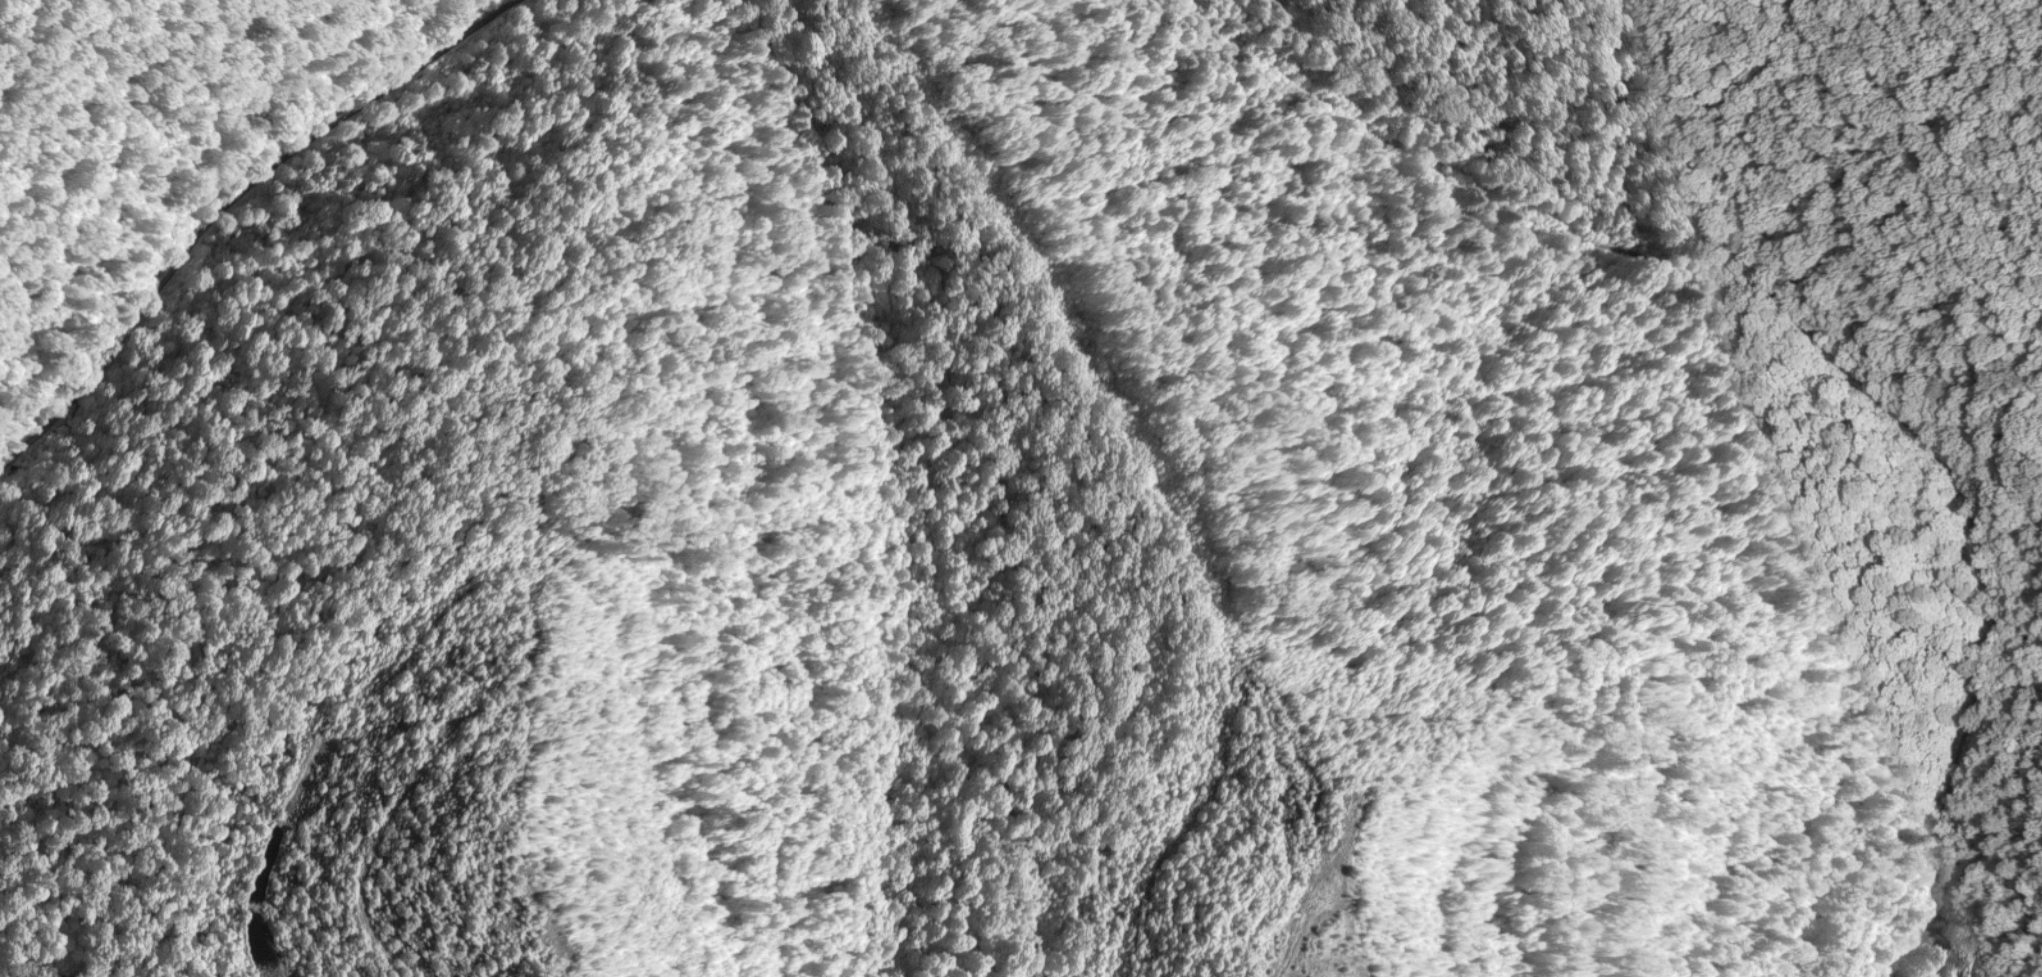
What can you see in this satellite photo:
quarry: (857, 570)

